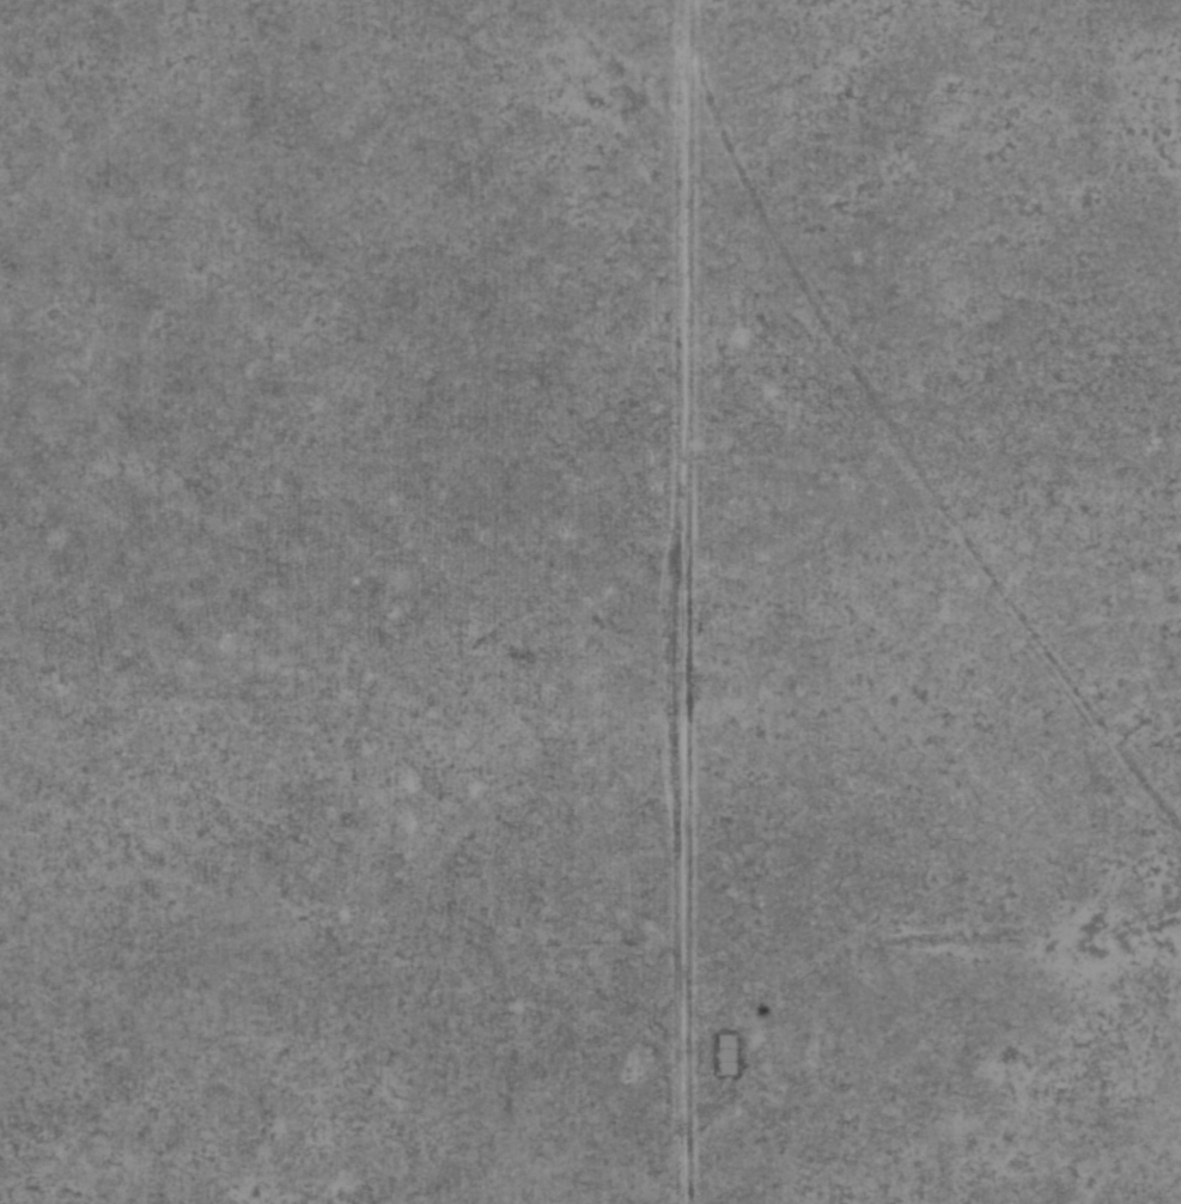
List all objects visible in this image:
airport: (929, 602)

